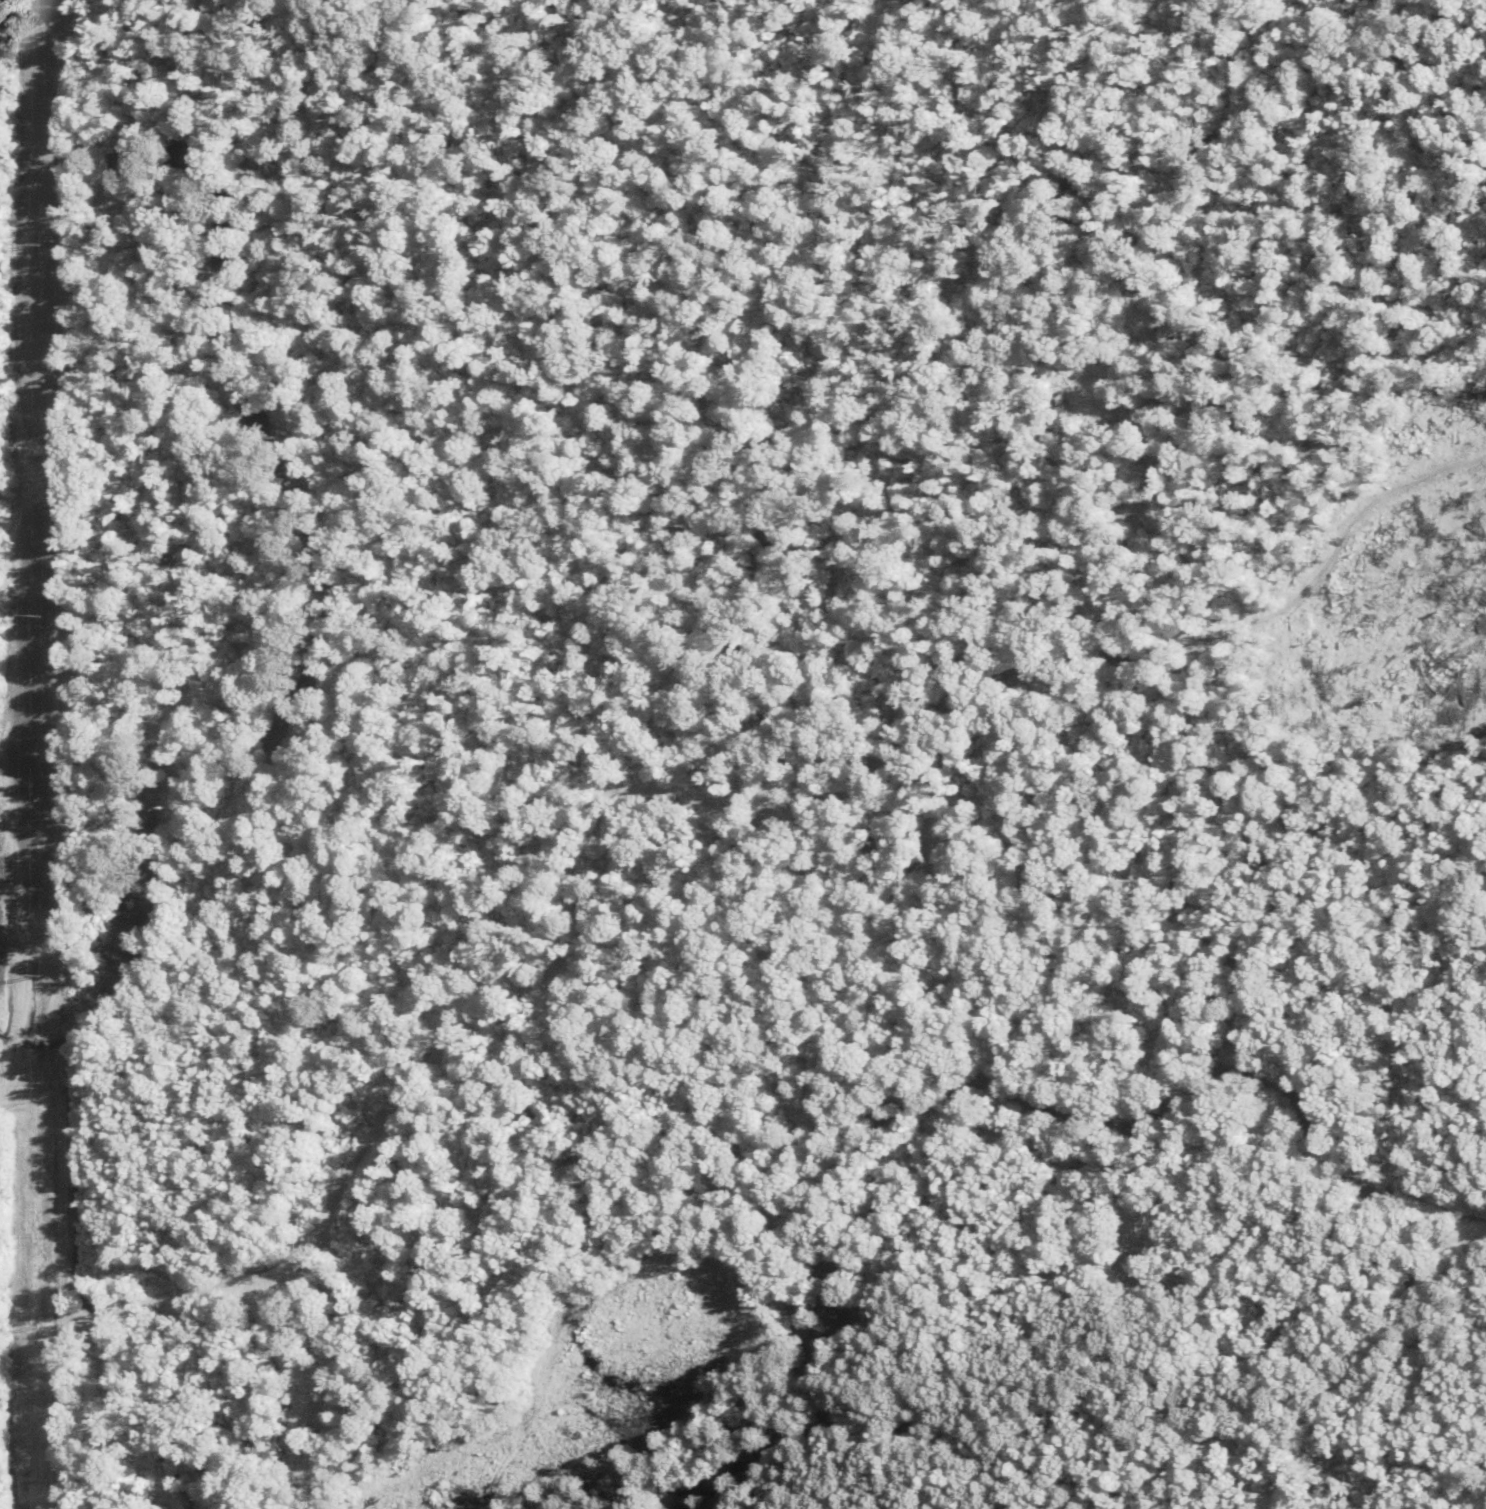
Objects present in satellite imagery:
power tower: (42, 243)
power tower: (40, 613)
power tower: (40, 973)
power tower: (41, 1324)

